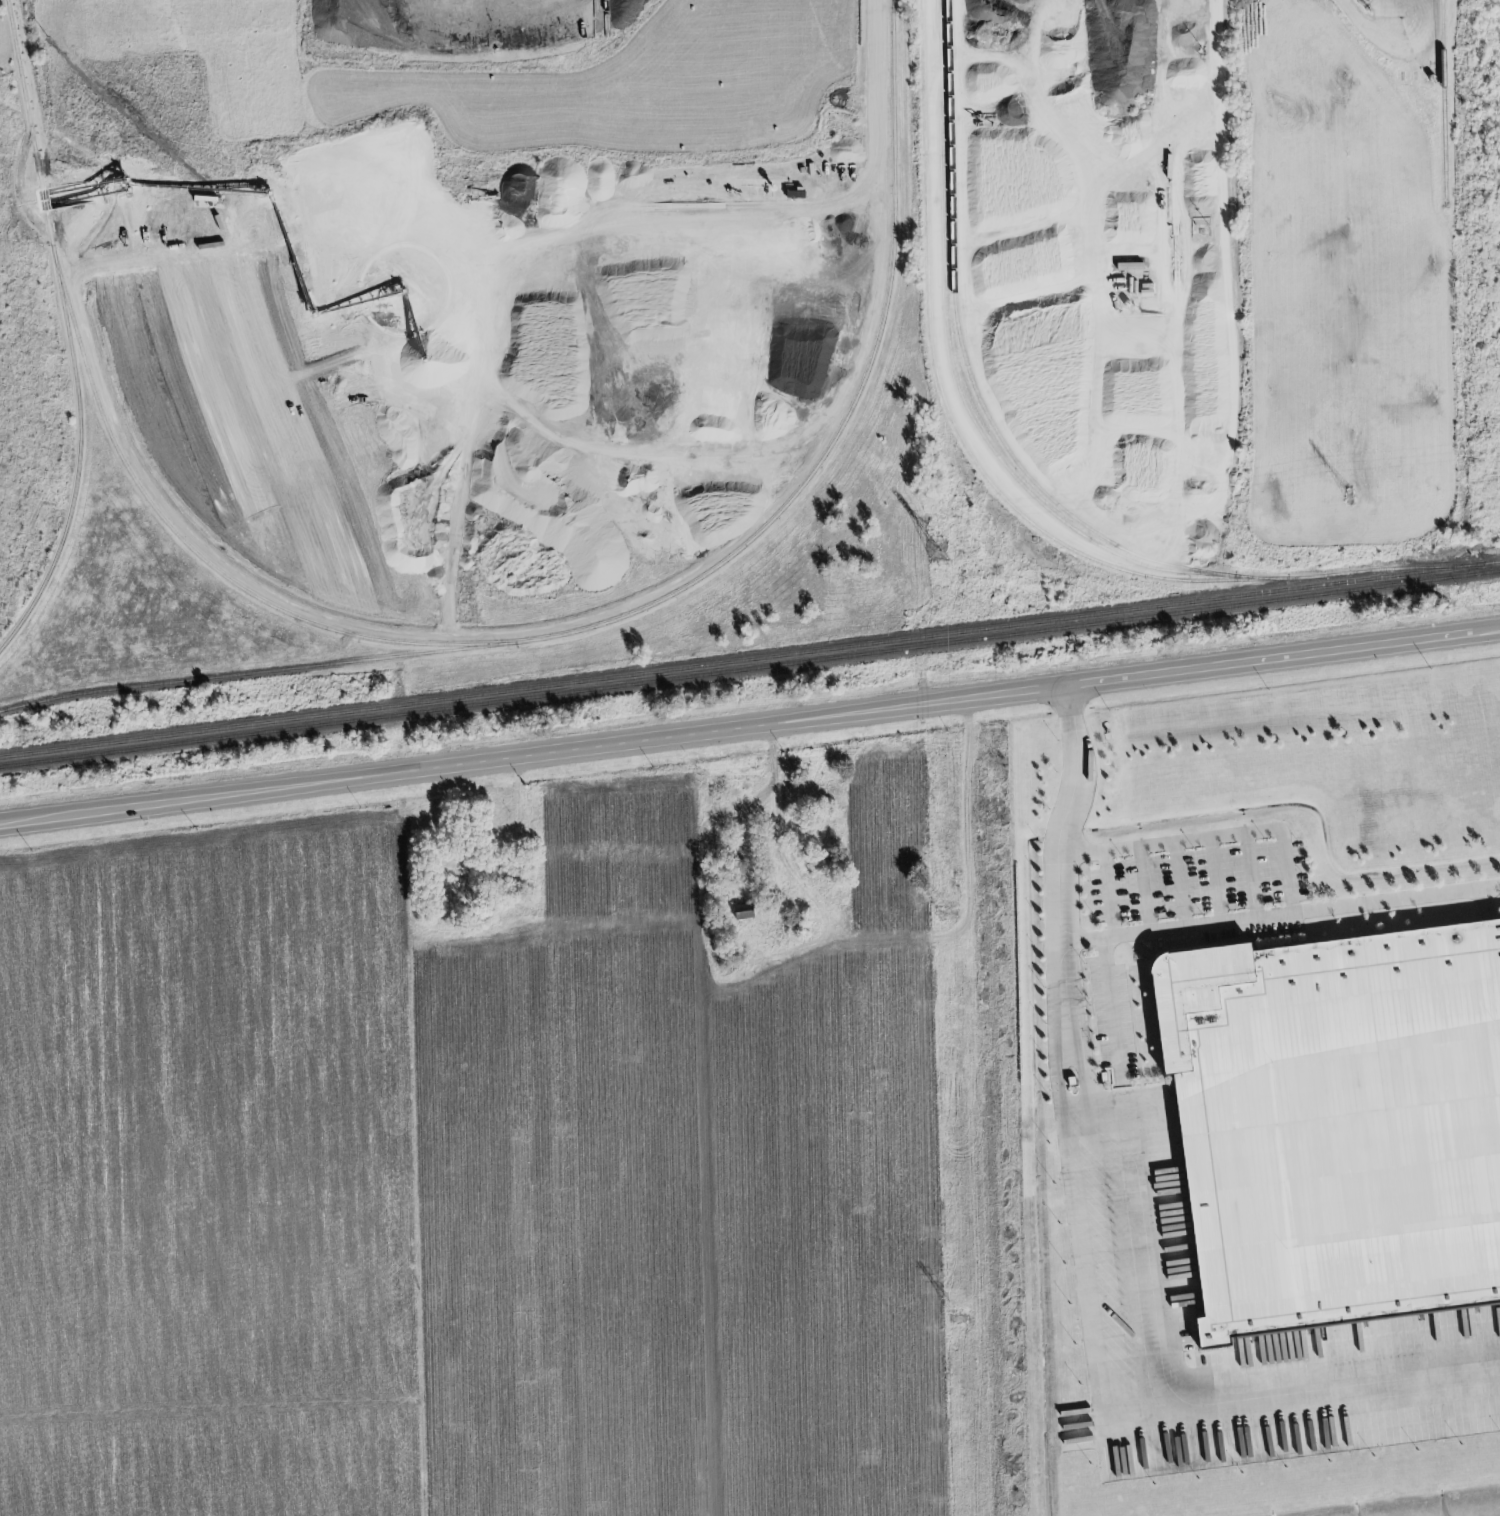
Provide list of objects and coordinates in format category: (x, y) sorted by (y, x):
road: (1406, 21)
road: (1216, 57)
railway: (949, 364)
railway: (945, 411)
railway: (846, 413)
railway: (117, 456)
railway: (76, 460)
railway: (1023, 474)
power tower: (1347, 495)
power tower: (935, 551)
road: (915, 644)
railway: (750, 660)
railway: (749, 669)
railway: (257, 673)
road: (749, 728)
road: (1209, 838)
building: (744, 912)
power tower: (949, 914)
road: (1154, 930)
building: (1337, 1121)
power tower: (957, 1317)
road: (1097, 1376)
building: (1491, 1407)

